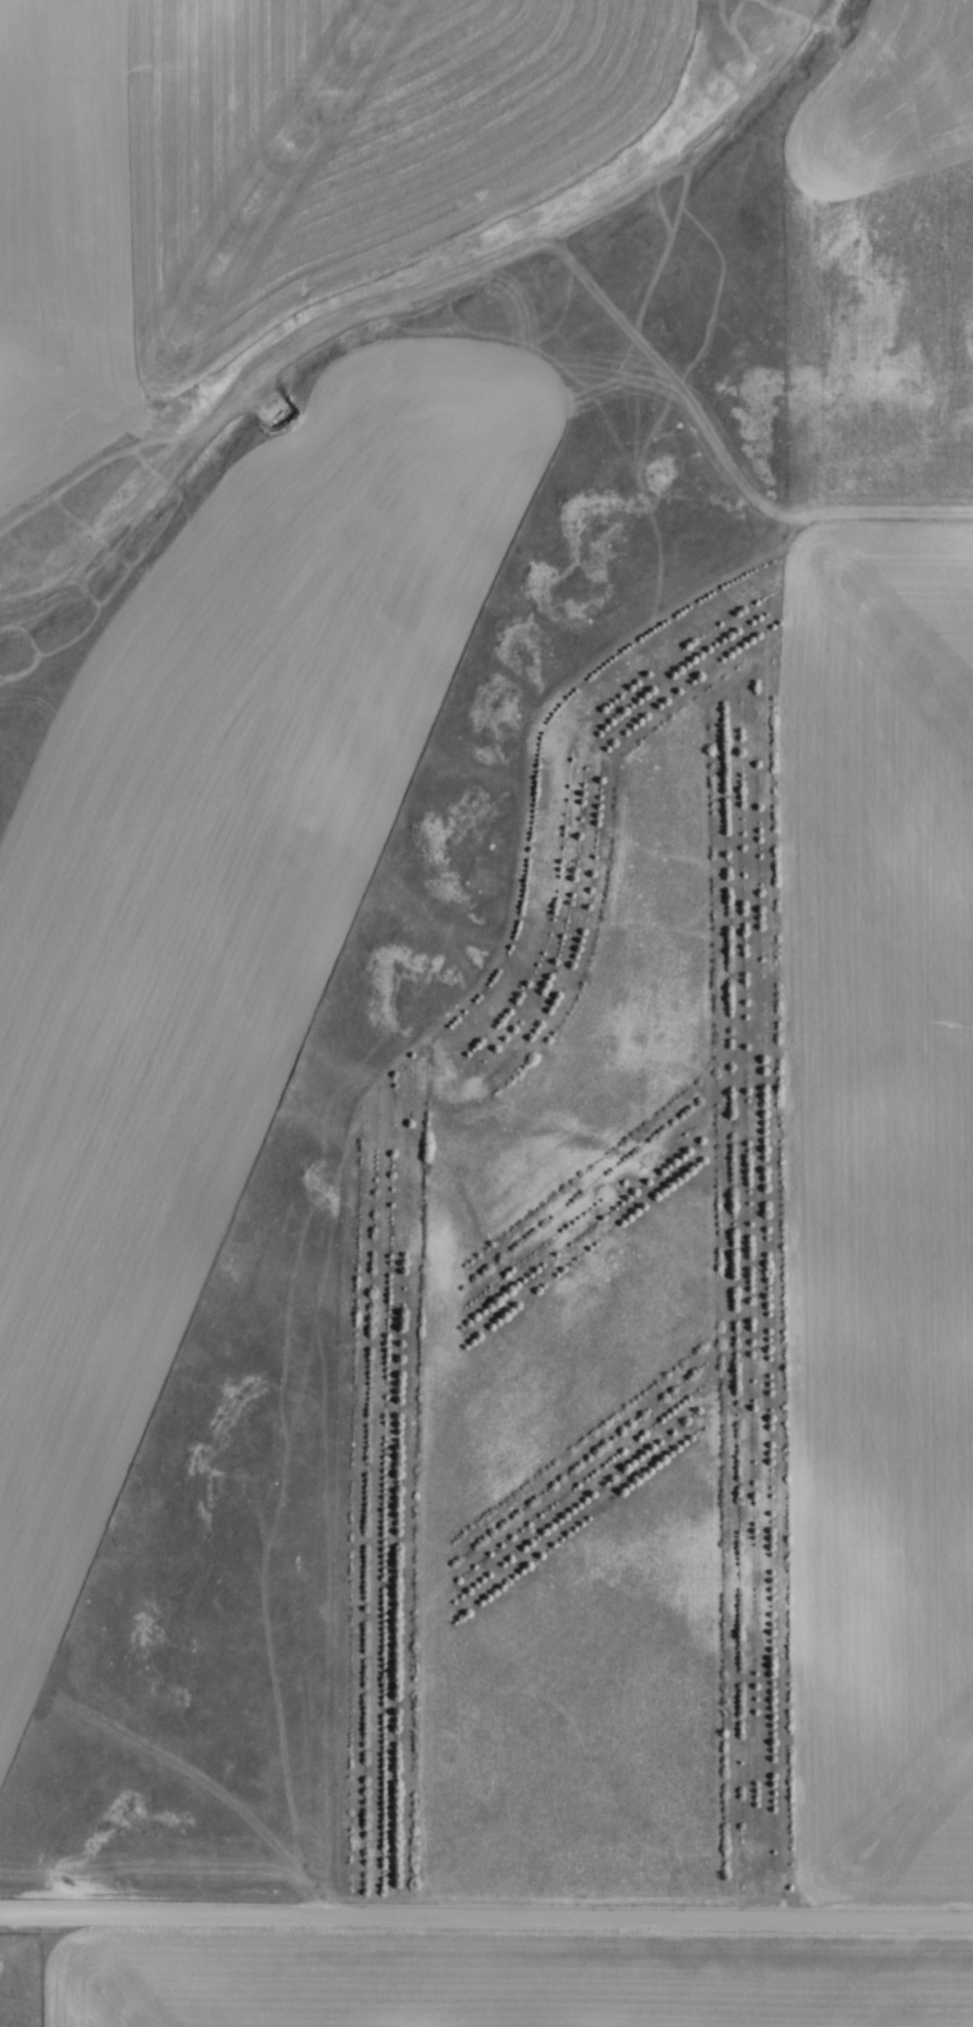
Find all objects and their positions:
road: (486, 1917)

